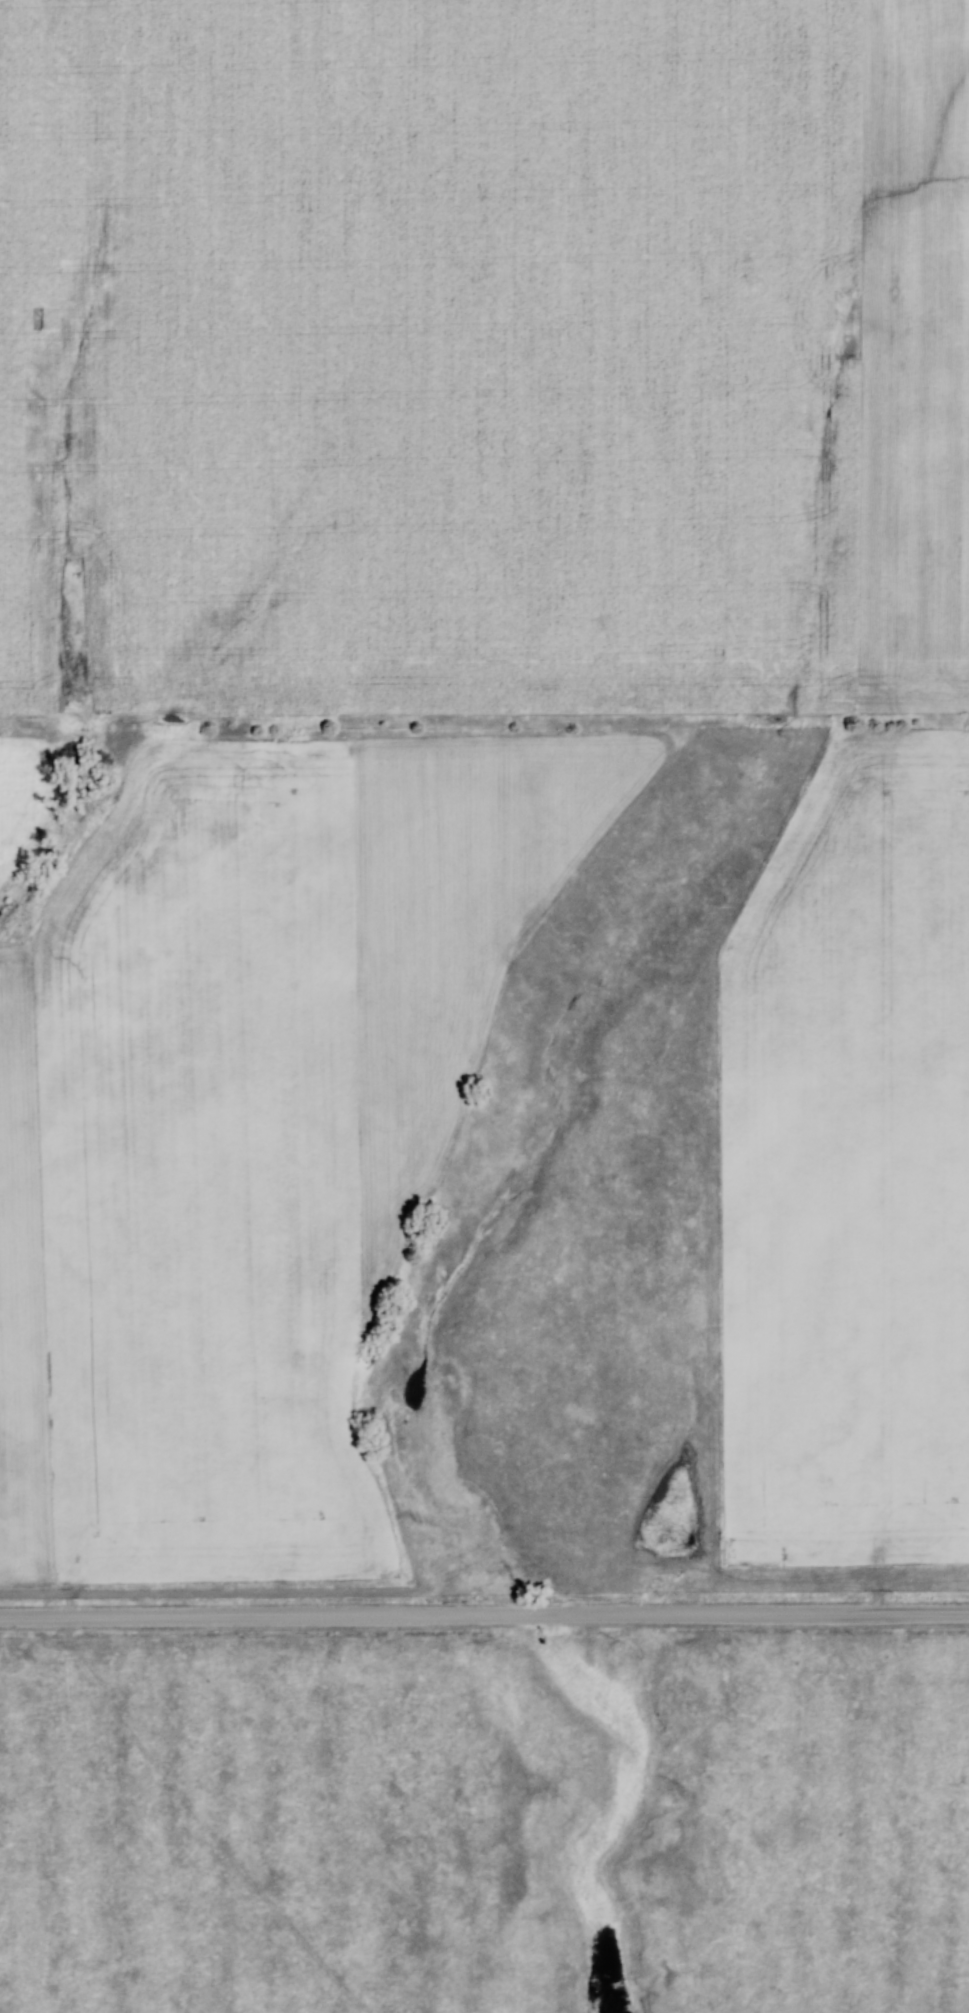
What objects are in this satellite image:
road: (484, 1618)

